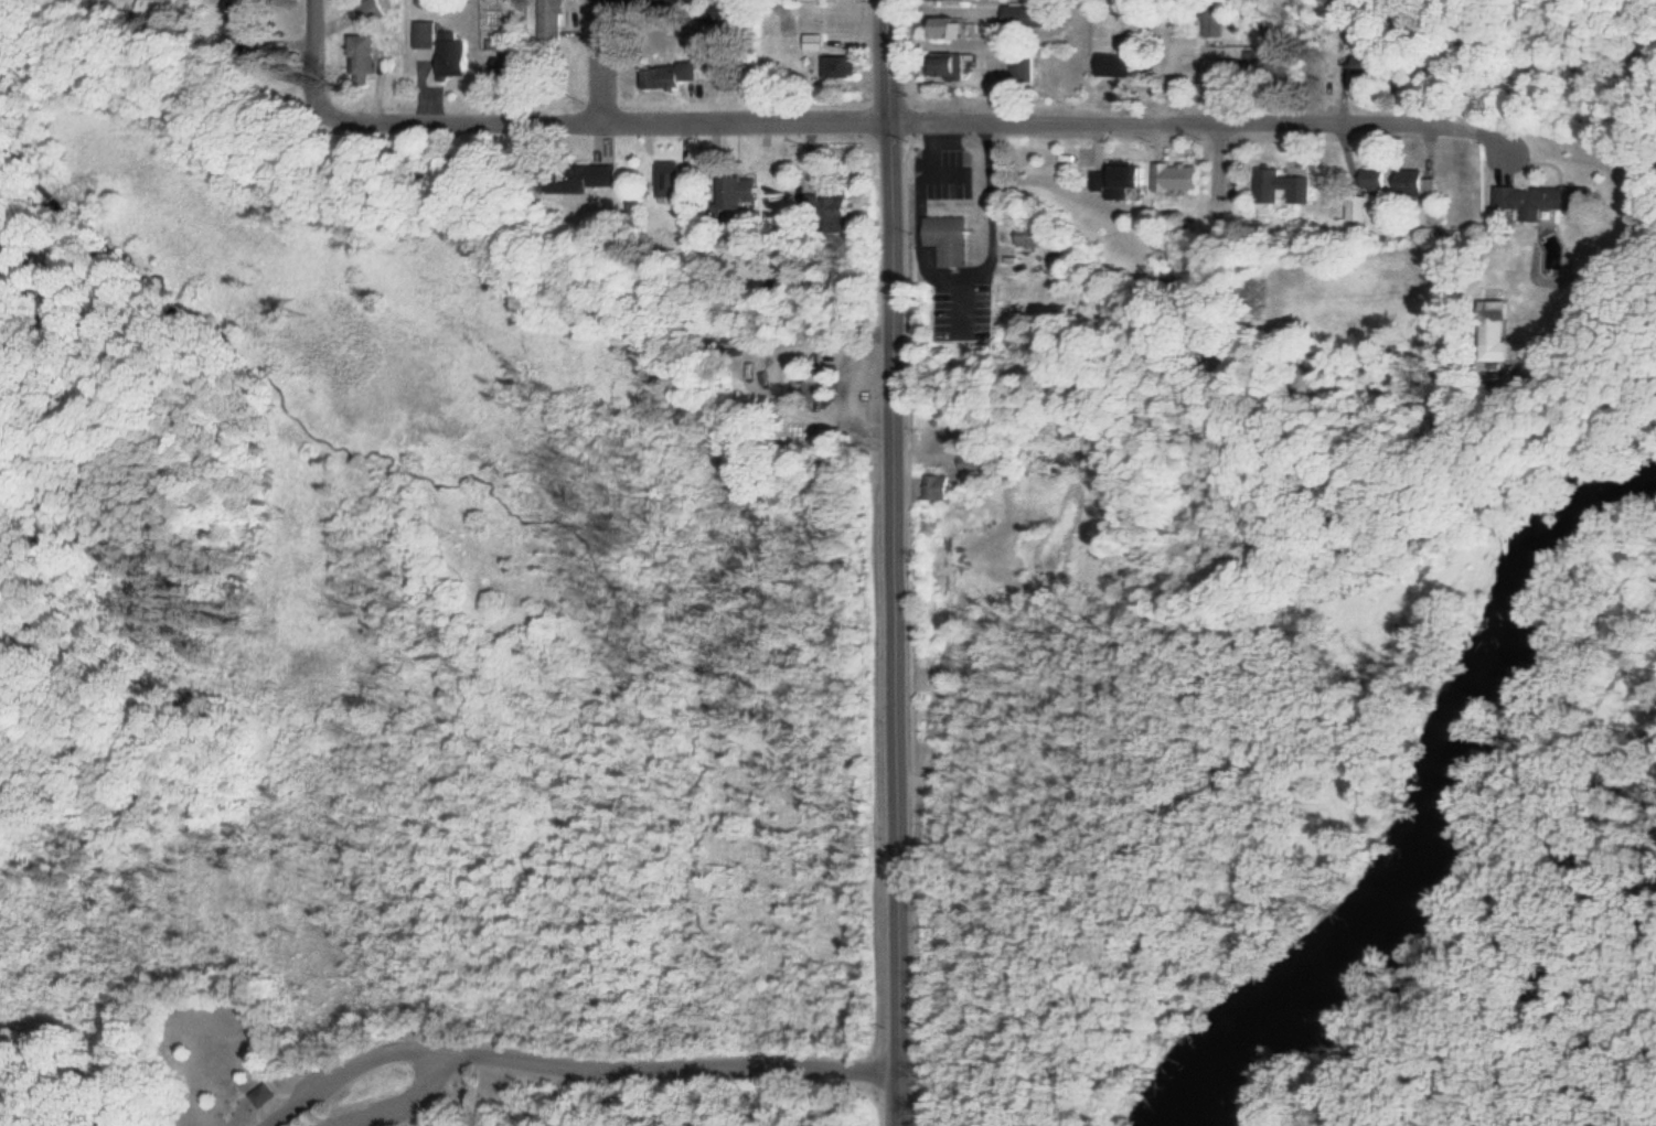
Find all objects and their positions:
building: (663, 0)
building: (193, 7)
building: (172, 9)
building: (376, 9)
building: (1032, 14)
building: (557, 19)
building: (253, 20)
building: (1215, 21)
building: (955, 28)
building: (429, 33)
building: (820, 40)
building: (371, 54)
building: (459, 54)
road: (1171, 60)
road: (602, 62)
building: (1368, 62)
road: (317, 63)
building: (954, 64)
building: (1120, 64)
building: (843, 66)
building: (1027, 68)
building: (679, 75)
road: (1169, 119)
road: (616, 122)
building: (1183, 176)
building: (597, 178)
building: (1135, 180)
building: (677, 181)
building: (1421, 182)
building: (1288, 187)
building: (755, 191)
building: (1542, 199)
building: (835, 205)
building: (1359, 206)
road: (891, 229)
building: (1039, 236)
building: (954, 238)
park: (432, 787)
road: (897, 792)
river: (1442, 798)
park: (1513, 887)
road: (394, 1047)
road: (660, 1066)
parking lot: (320, 1087)
building: (264, 1093)
parking lot: (370, 1114)

